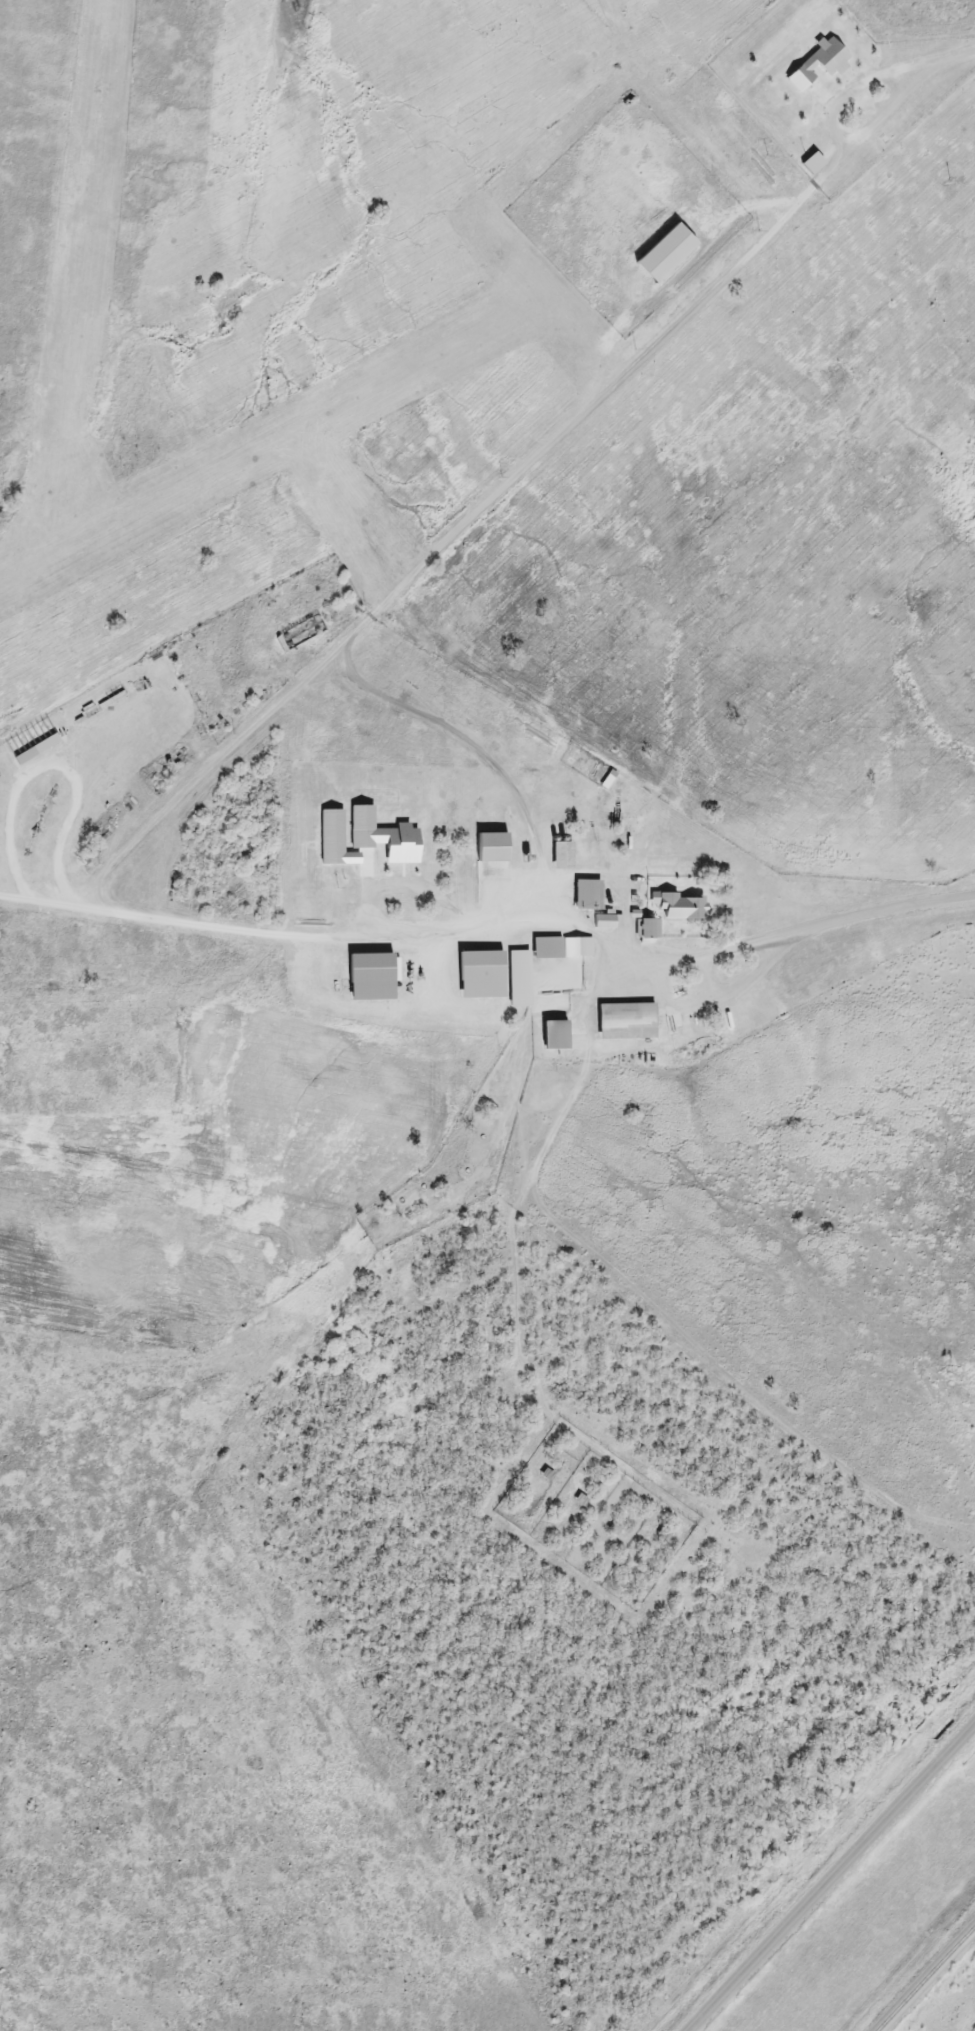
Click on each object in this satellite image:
road: (955, 57)
road: (836, 134)
building: (663, 255)
road: (435, 557)
building: (490, 857)
building: (561, 857)
building: (677, 908)
building: (607, 923)
road: (522, 925)
building: (647, 933)
building: (561, 949)
building: (479, 976)
building: (518, 980)
building: (562, 980)
building: (623, 1022)
building: (553, 1037)
road: (831, 1876)
railway: (925, 1976)

